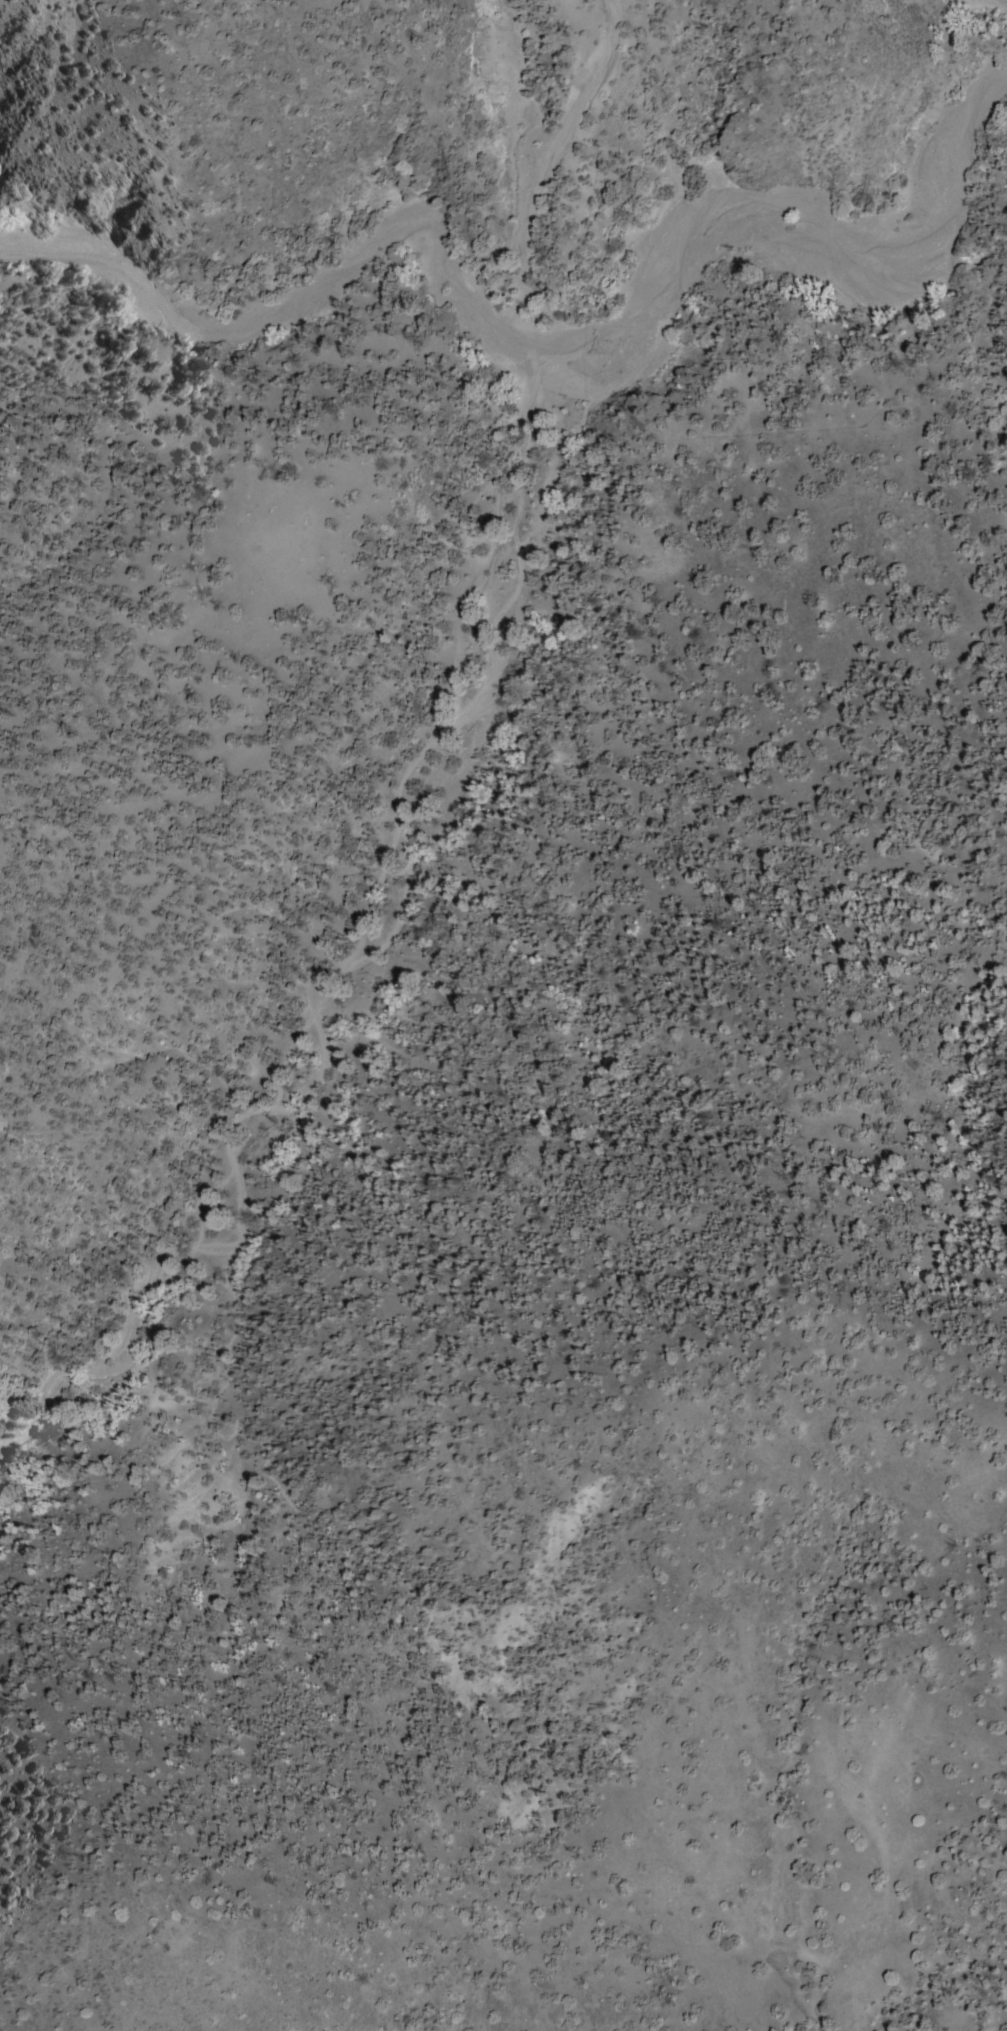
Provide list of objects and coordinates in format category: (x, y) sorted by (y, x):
road: (549, 157)

